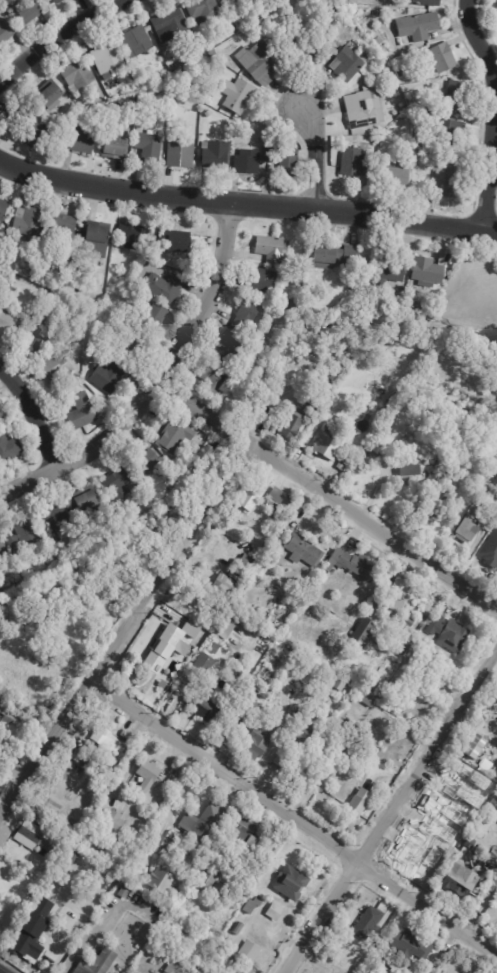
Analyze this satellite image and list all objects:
building: (10, 0)
building: (58, 2)
building: (429, 3)
building: (233, 4)
building: (206, 10)
building: (30, 11)
building: (170, 26)
building: (243, 28)
building: (419, 28)
building: (6, 33)
road: (59, 36)
building: (138, 42)
building: (333, 43)
building: (305, 48)
building: (214, 54)
building: (441, 58)
building: (110, 61)
building: (259, 62)
building: (350, 65)
building: (181, 72)
building: (402, 72)
building: (79, 76)
building: (188, 79)
building: (51, 95)
building: (238, 95)
building: (454, 99)
building: (101, 108)
building: (366, 109)
road: (492, 112)
building: (92, 114)
building: (208, 114)
building: (21, 119)
building: (62, 125)
building: (446, 134)
building: (36, 136)
building: (418, 137)
building: (82, 141)
building: (385, 146)
building: (117, 148)
building: (150, 149)
building: (181, 155)
building: (215, 155)
building: (421, 157)
road: (315, 159)
building: (285, 160)
building: (248, 163)
building: (357, 164)
building: (393, 174)
building: (452, 182)
road: (247, 201)
building: (3, 209)
building: (29, 221)
building: (63, 228)
building: (132, 236)
building: (96, 239)
building: (176, 240)
building: (271, 248)
building: (333, 257)
building: (7, 260)
building: (391, 268)
building: (76, 270)
building: (431, 271)
building: (298, 279)
building: (263, 282)
building: (370, 284)
building: (166, 287)
building: (405, 289)
building: (416, 293)
building: (295, 306)
building: (153, 315)
building: (252, 315)
building: (7, 322)
building: (71, 325)
building: (278, 329)
building: (34, 339)
building: (232, 344)
building: (134, 347)
building: (348, 350)
building: (231, 361)
building: (57, 367)
building: (108, 378)
building: (333, 378)
road: (159, 380)
building: (217, 380)
building: (395, 395)
building: (320, 399)
building: (387, 409)
building: (83, 411)
road: (36, 413)
building: (1, 416)
building: (294, 425)
building: (176, 436)
building: (331, 442)
building: (10, 449)
building: (151, 462)
building: (408, 470)
building: (446, 474)
building: (120, 483)
building: (279, 495)
road: (326, 497)
building: (248, 499)
building: (88, 501)
building: (443, 502)
building: (493, 516)
building: (53, 519)
building: (470, 529)
building: (24, 537)
building: (3, 548)
building: (305, 550)
building: (490, 550)
building: (248, 565)
building: (356, 566)
building: (225, 585)
building: (397, 595)
building: (180, 597)
building: (236, 614)
building: (409, 622)
building: (224, 625)
building: (209, 629)
building: (368, 632)
road: (127, 633)
building: (450, 633)
building: (216, 649)
building: (172, 650)
building: (405, 650)
building: (206, 663)
building: (424, 670)
building: (166, 676)
building: (332, 680)
building: (342, 687)
building: (366, 701)
building: (207, 709)
building: (248, 710)
building: (12, 716)
building: (303, 731)
building: (345, 733)
building: (107, 741)
building: (260, 742)
building: (359, 745)
building: (474, 746)
building: (280, 763)
building: (84, 764)
building: (103, 768)
building: (150, 776)
building: (473, 799)
building: (490, 804)
building: (359, 806)
road: (391, 812)
building: (109, 820)
road: (294, 821)
building: (203, 824)
building: (480, 826)
building: (36, 837)
building: (248, 838)
building: (159, 839)
building: (467, 843)
building: (73, 856)
building: (488, 858)
building: (123, 859)
building: (457, 880)
building: (209, 881)
building: (162, 882)
building: (292, 884)
building: (126, 892)
building: (222, 894)
building: (254, 906)
building: (276, 912)
building: (366, 923)
building: (238, 929)
building: (35, 932)
road: (88, 936)
building: (407, 948)
building: (58, 949)
building: (251, 952)
building: (98, 963)
building: (174, 969)
building: (385, 971)
building: (330, 972)
building: (378, 972)

